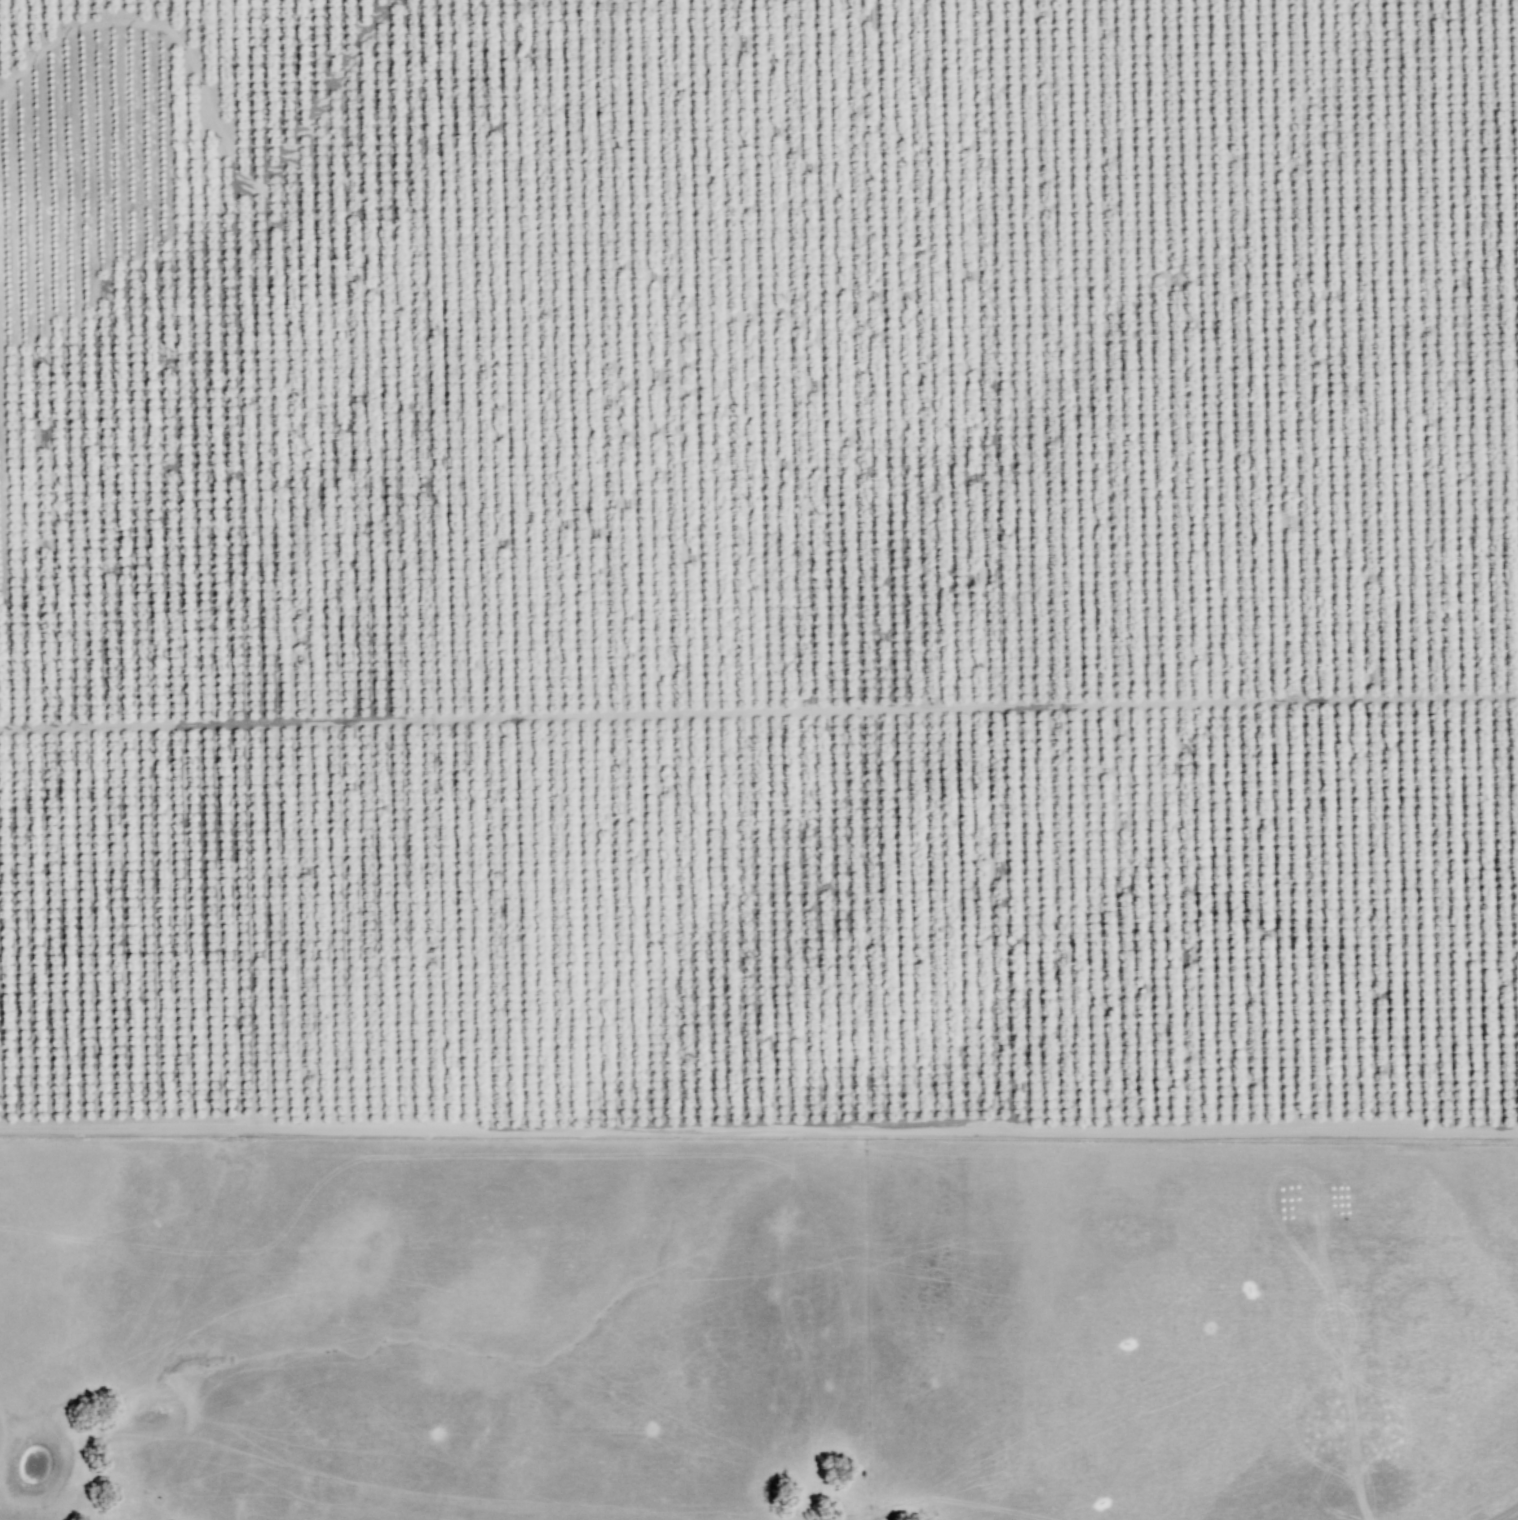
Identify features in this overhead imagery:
road: (1506, 1513)

